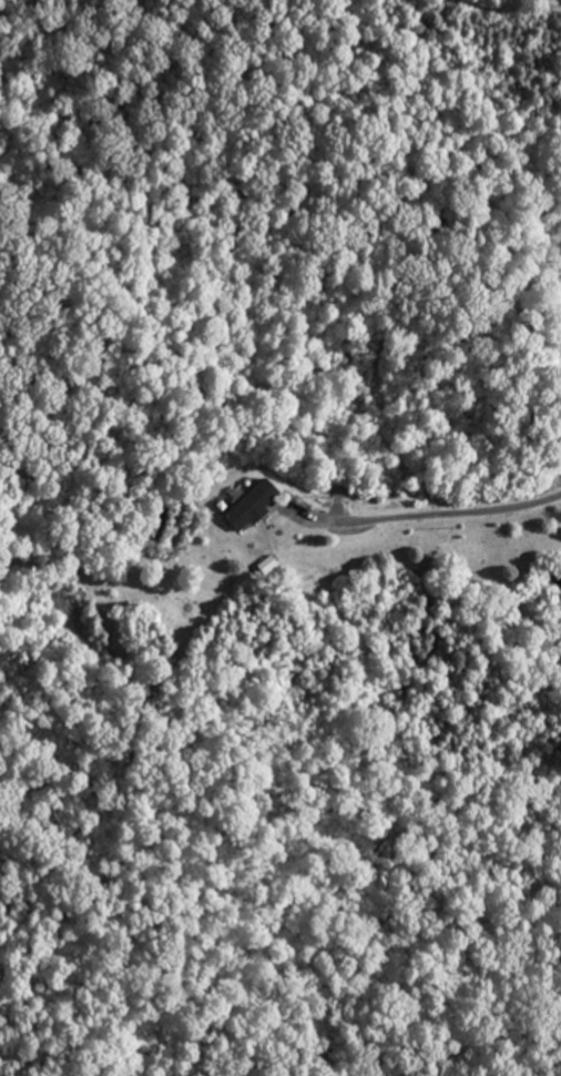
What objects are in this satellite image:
building: (252, 506)
road: (452, 515)

